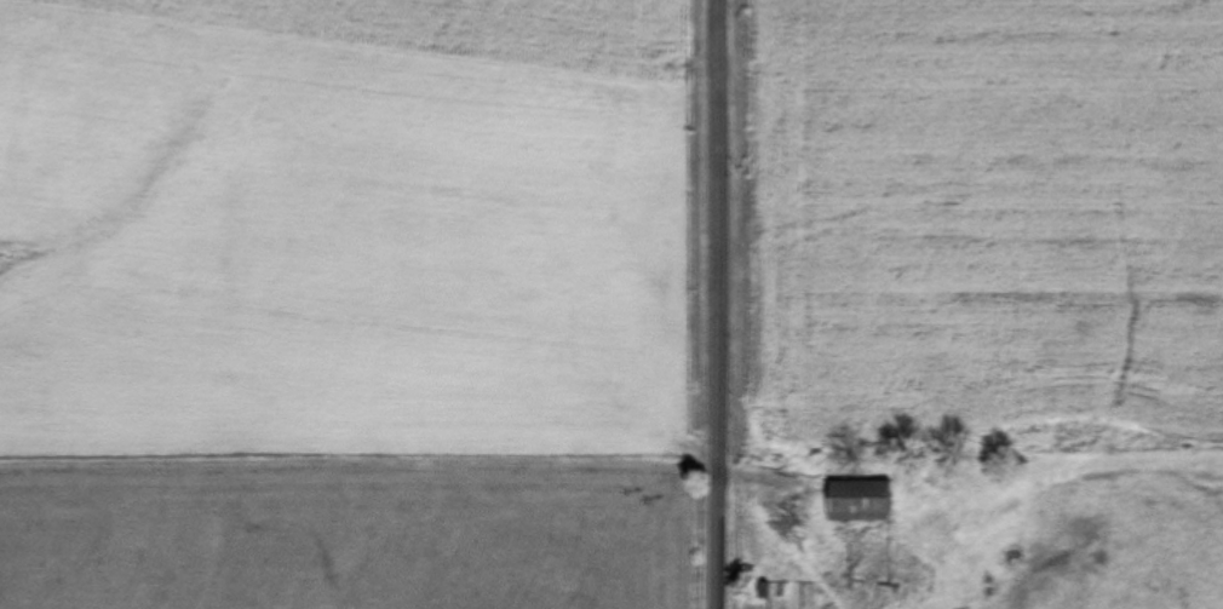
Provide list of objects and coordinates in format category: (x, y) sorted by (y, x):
road: (717, 304)
building: (859, 504)
building: (762, 594)

